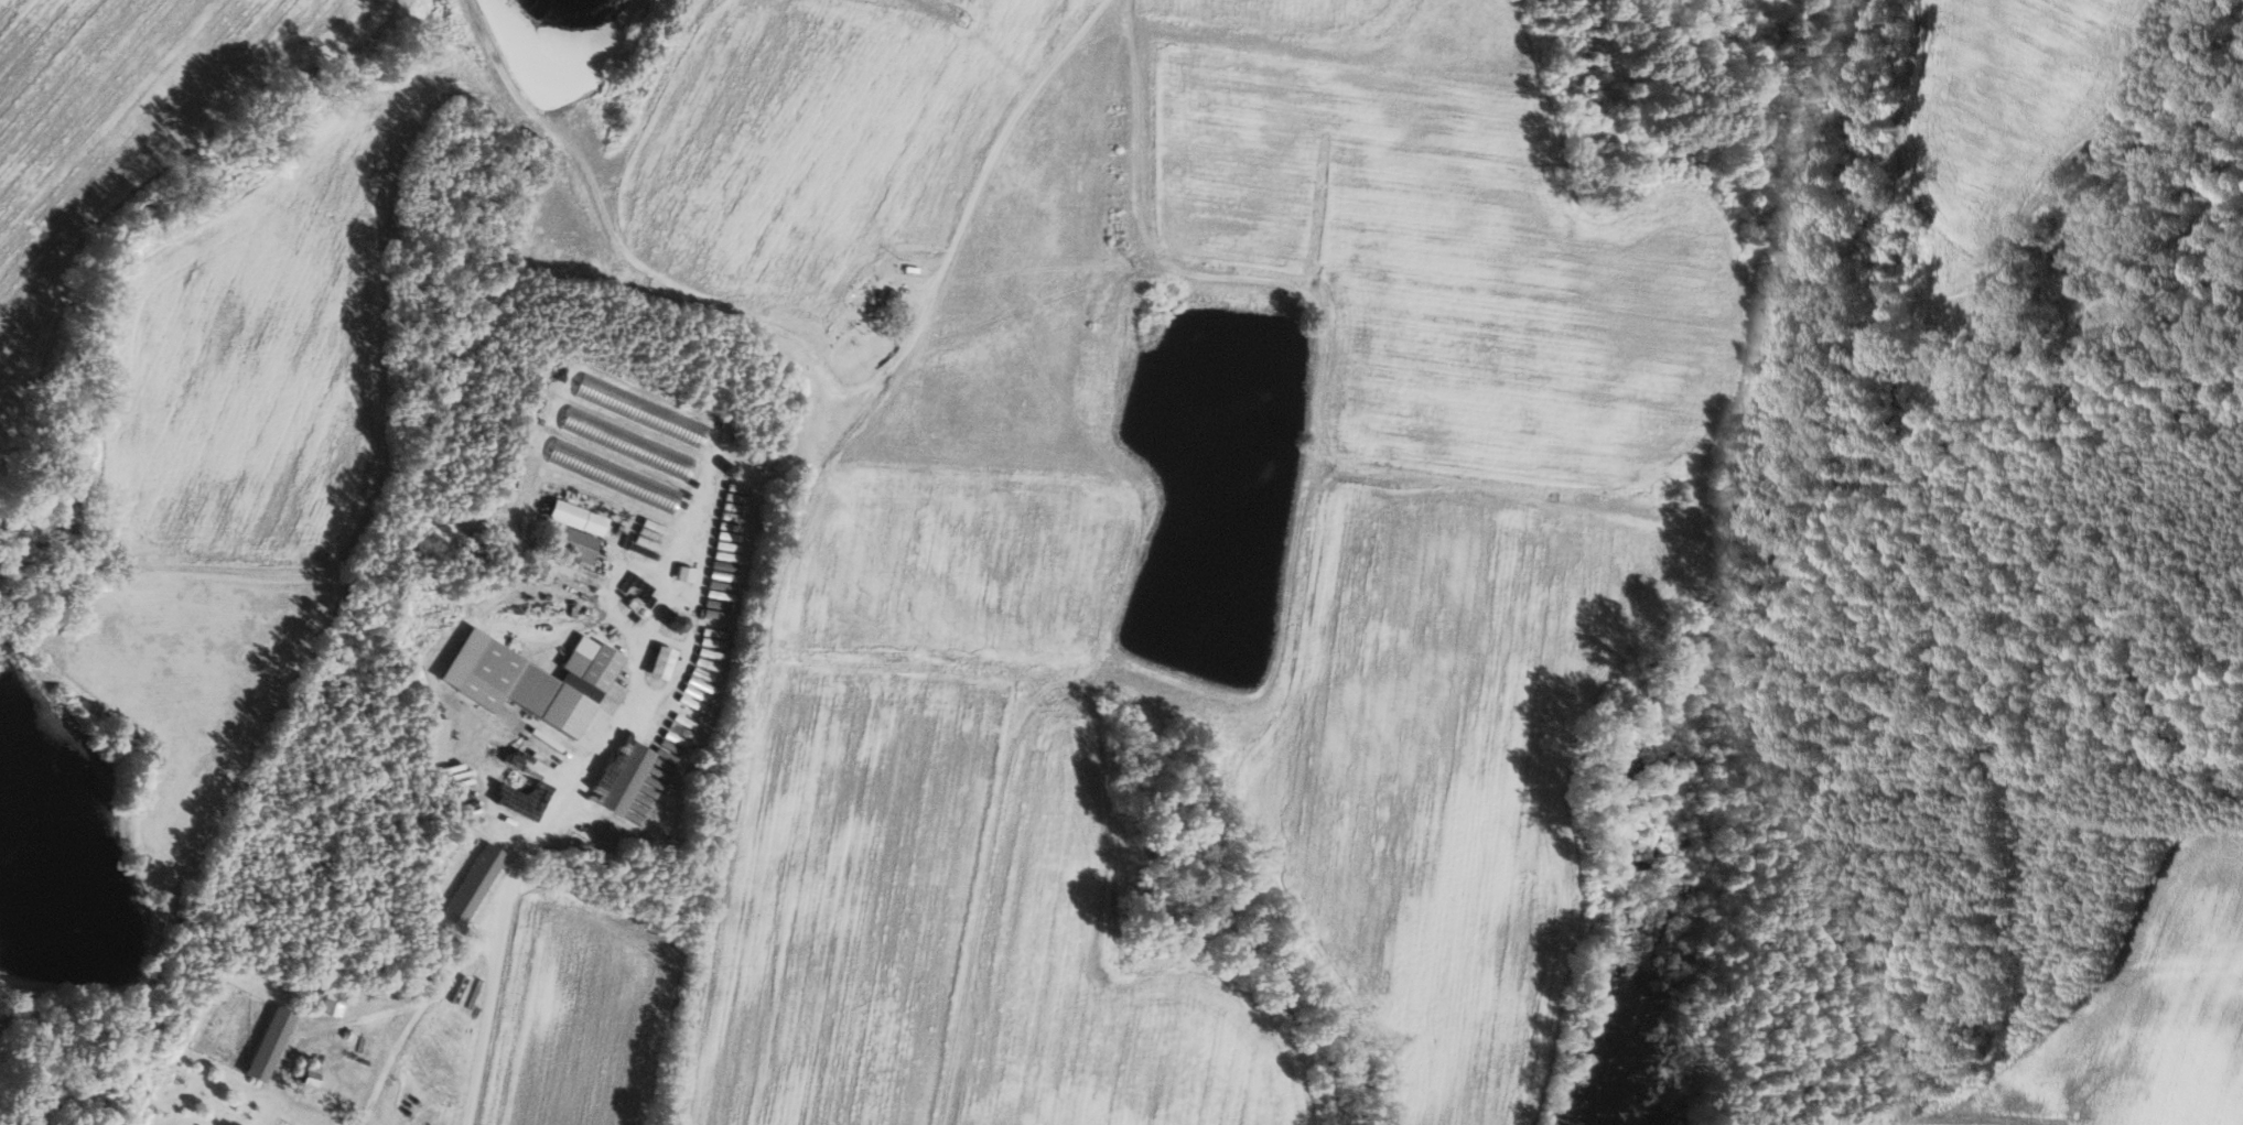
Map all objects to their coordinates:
road: (974, 190)
building: (643, 411)
building: (578, 531)
road: (700, 540)
building: (573, 571)
building: (686, 574)
road: (615, 589)
road: (677, 604)
road: (580, 626)
road: (668, 641)
building: (664, 663)
building: (533, 681)
building: (435, 739)
building: (627, 779)
building: (474, 884)
road: (498, 912)
building: (327, 1002)
road: (484, 1034)
building: (270, 1042)

